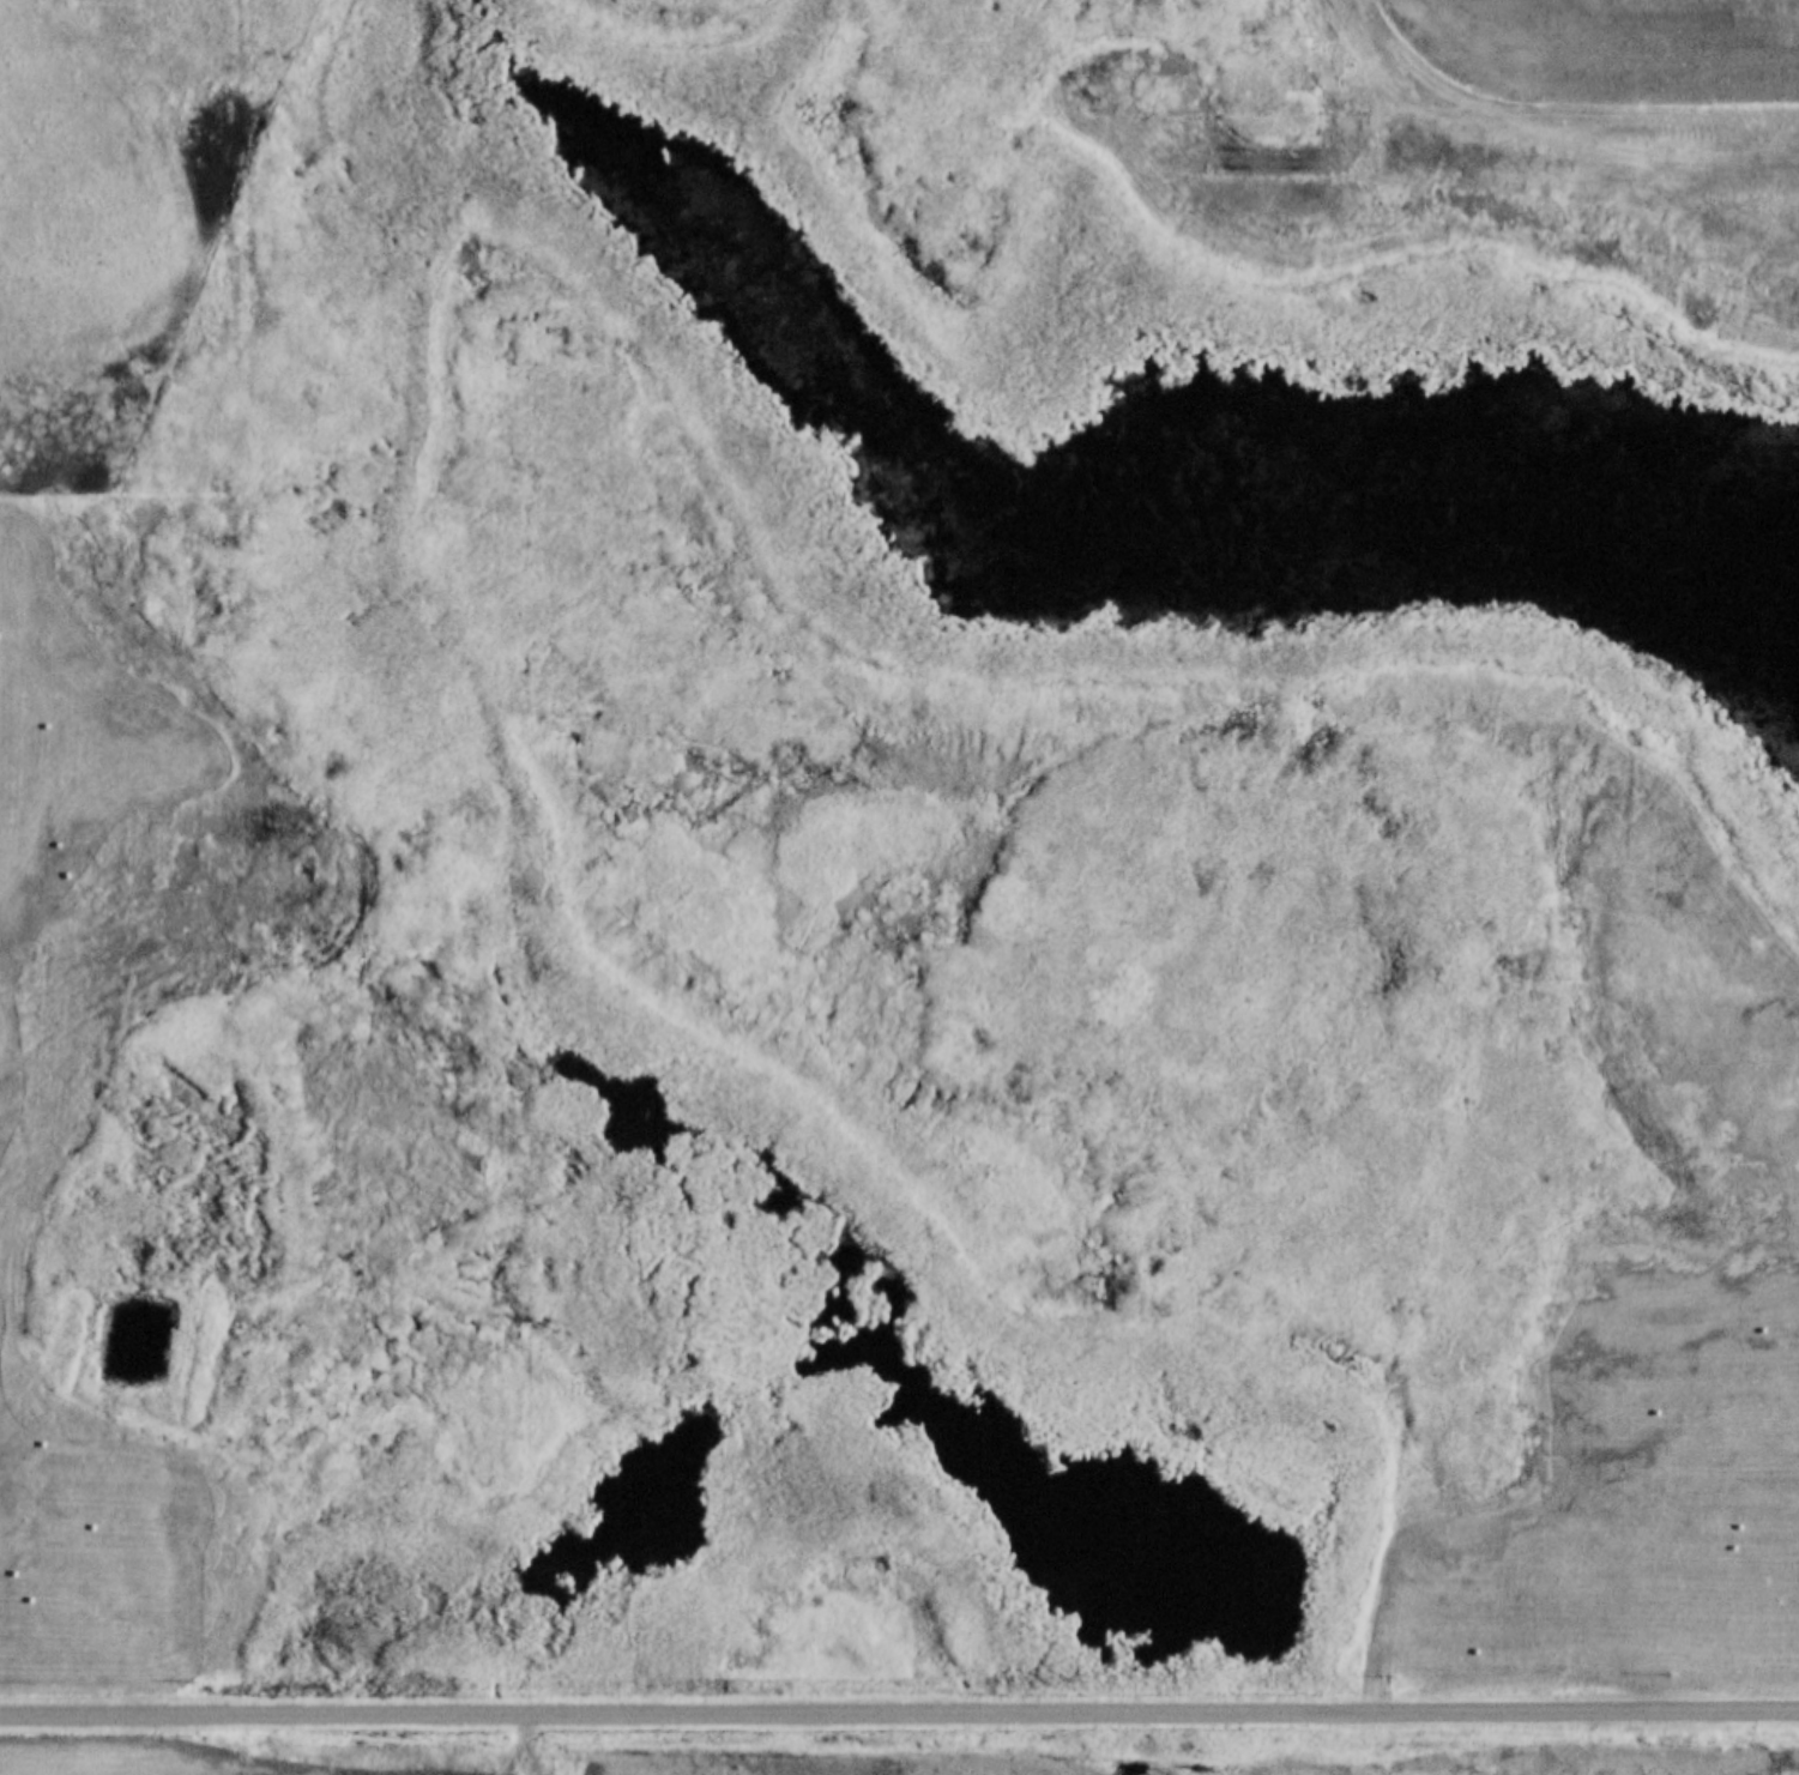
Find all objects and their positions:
road: (899, 1710)

